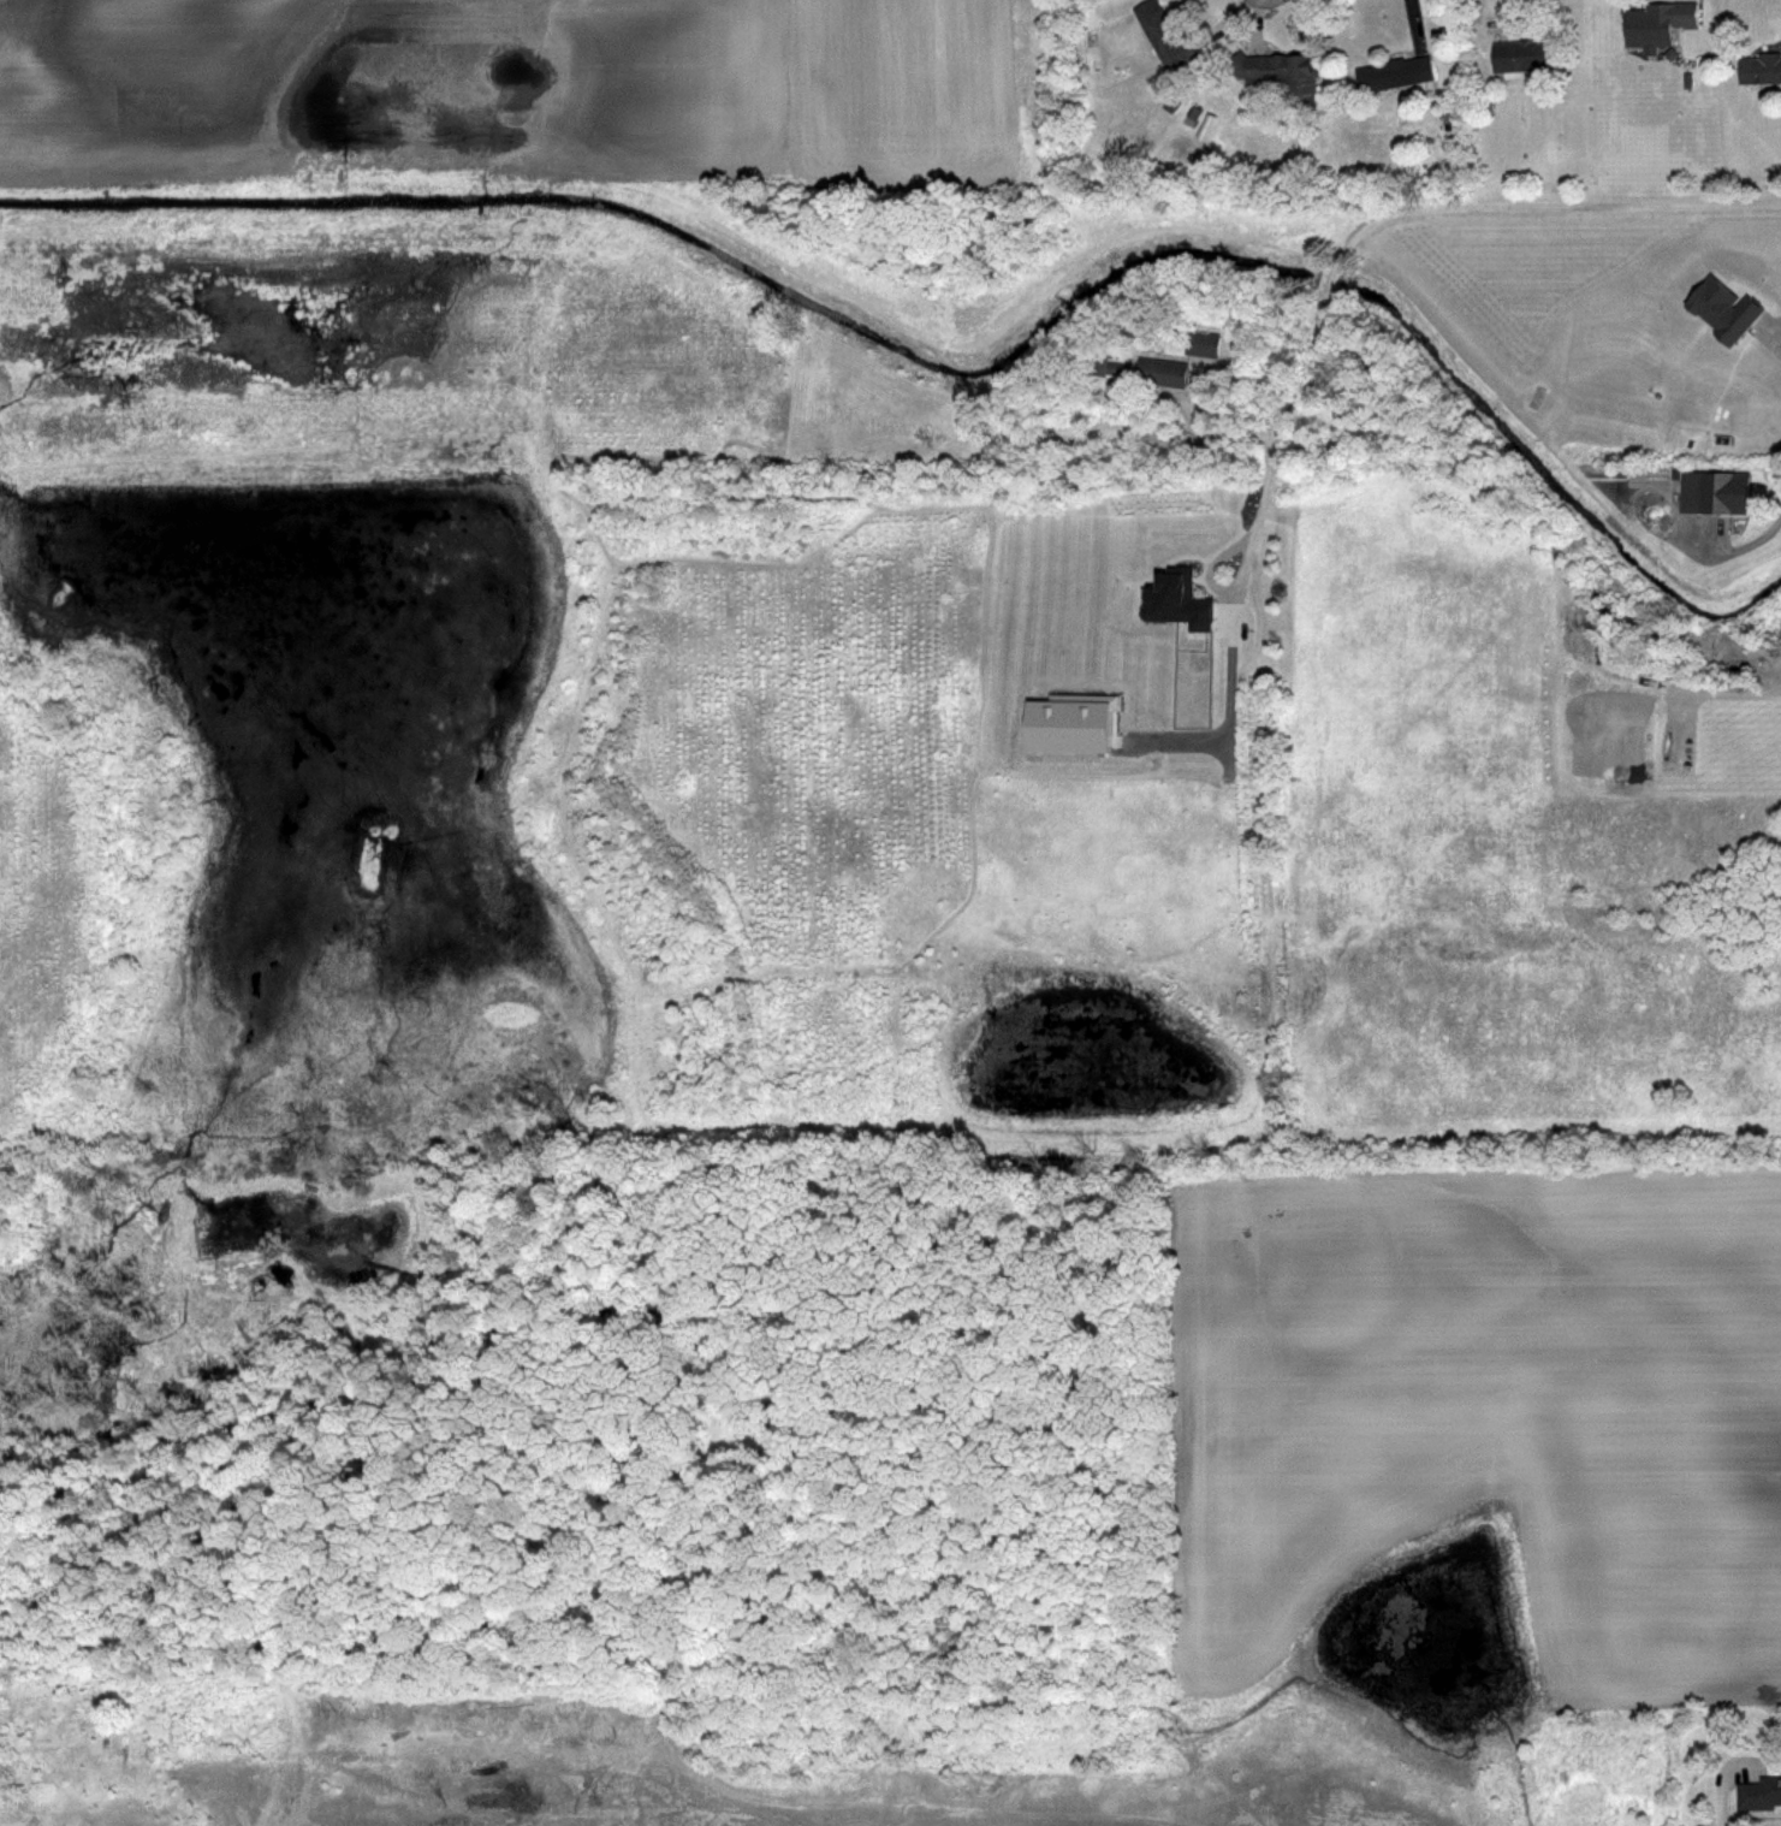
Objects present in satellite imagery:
building: (1660, 24)
building: (1164, 36)
building: (1520, 55)
building: (1761, 70)
building: (1277, 72)
building: (1395, 73)
crop: (593, 143)
road: (1413, 208)
building: (1722, 308)
building: (1204, 344)
building: (1108, 364)
building: (1164, 372)
building: (1716, 494)
road: (1749, 543)
road: (1235, 544)
building: (1179, 603)
building: (1069, 725)
crop: (784, 748)
crop: (1462, 1472)
crop: (501, 1773)
building: (1762, 1795)
road: (1721, 1802)

